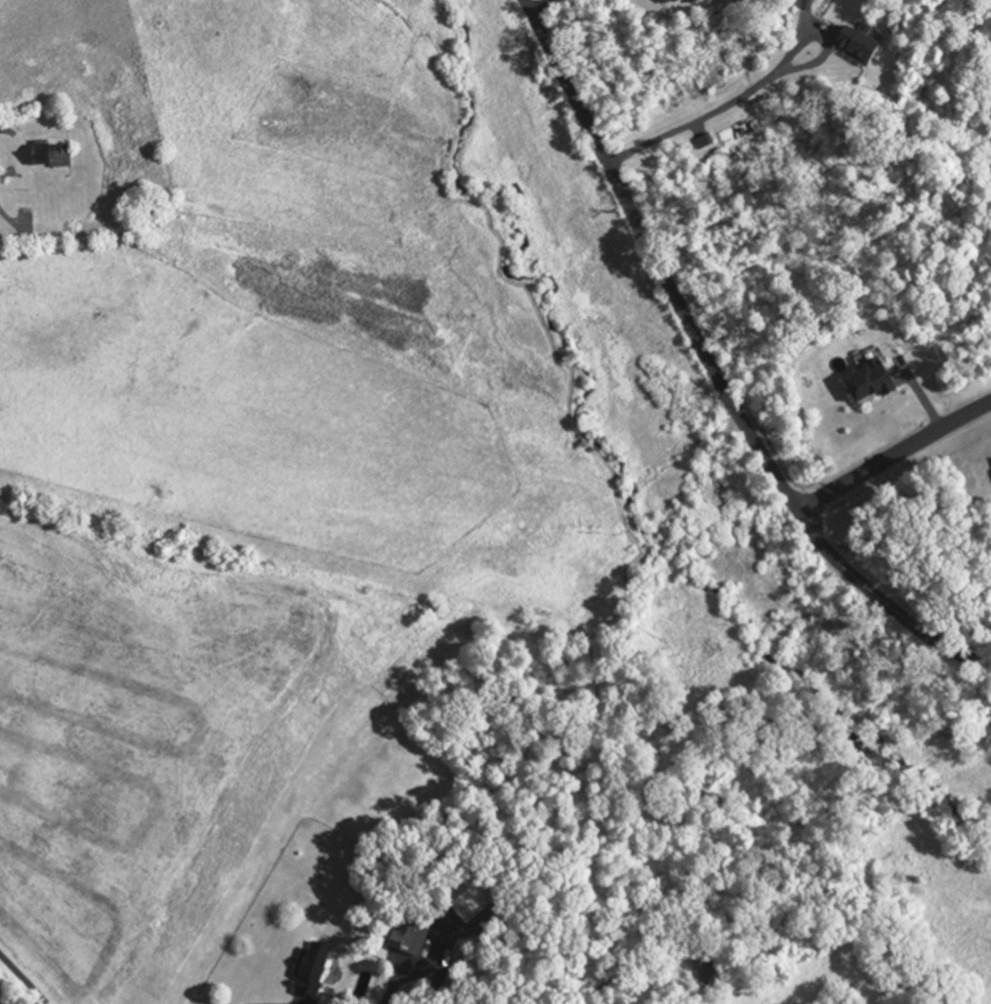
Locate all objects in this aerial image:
building: (669, 2)
road: (537, 5)
building: (852, 45)
road: (748, 90)
building: (46, 157)
building: (86, 184)
building: (22, 199)
road: (715, 370)
building: (865, 385)
road: (892, 456)
building: (404, 938)
building: (702, 974)
building: (306, 975)
road: (23, 980)

